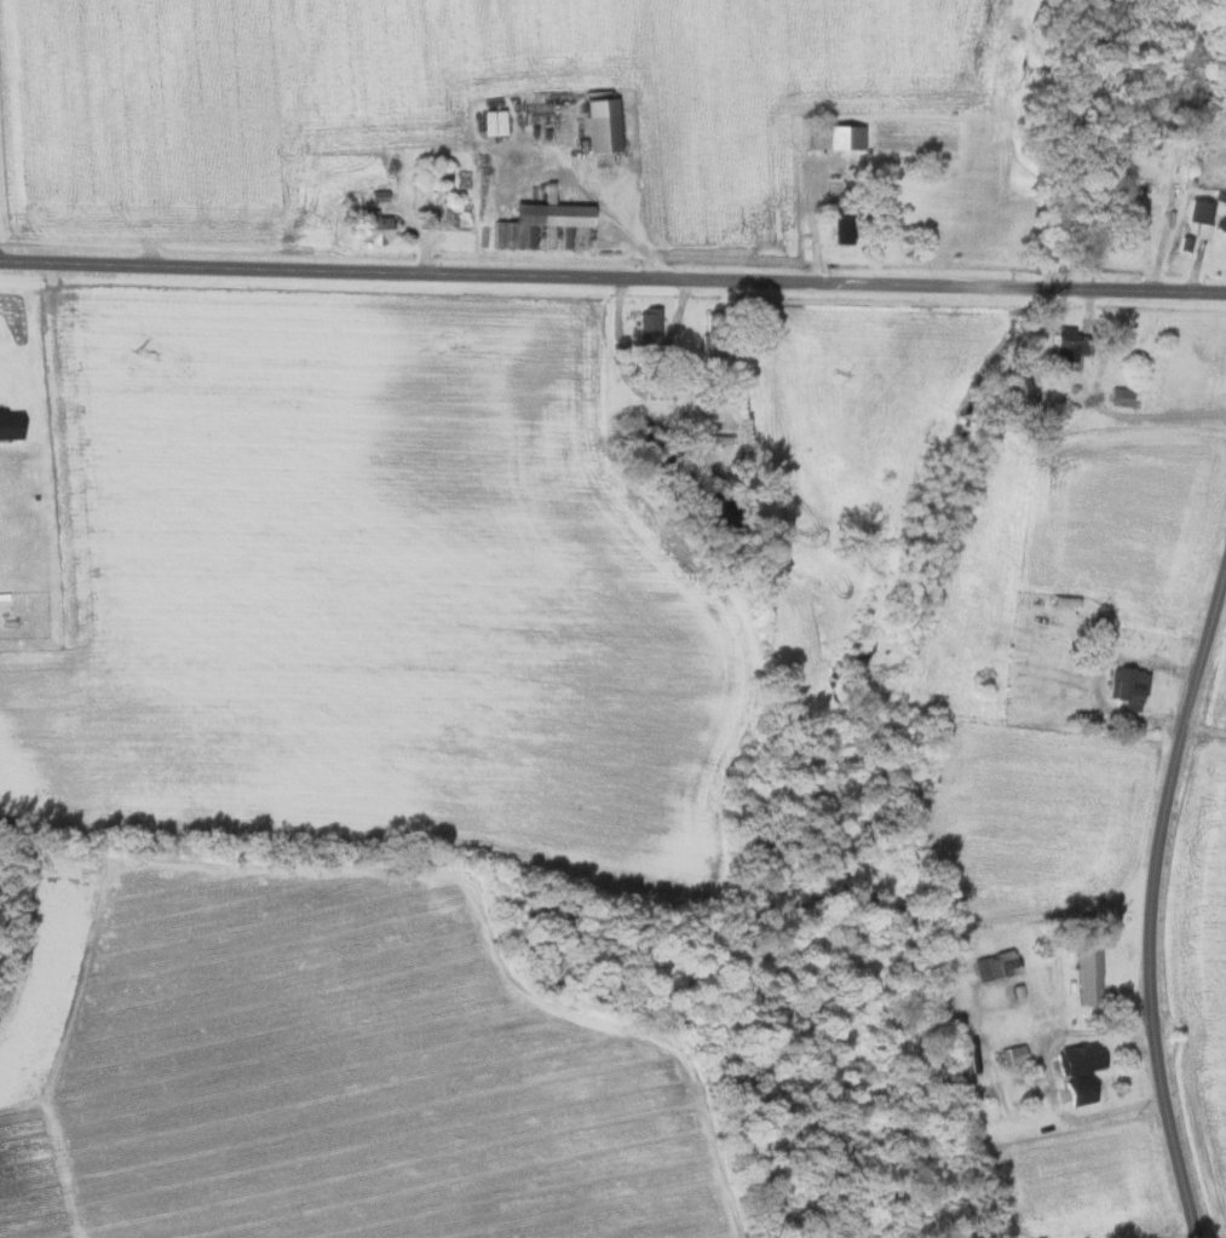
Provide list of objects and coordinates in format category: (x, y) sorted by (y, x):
building: (495, 121)
building: (599, 125)
building: (834, 136)
building: (1199, 211)
building: (534, 220)
road: (626, 225)
building: (372, 226)
building: (1222, 228)
road: (612, 280)
building: (647, 321)
building: (1069, 344)
building: (710, 350)
building: (1019, 386)
building: (1121, 396)
building: (10, 424)
building: (1126, 687)
road: (1150, 902)
building: (992, 965)
building: (1087, 974)
building: (1076, 1070)

